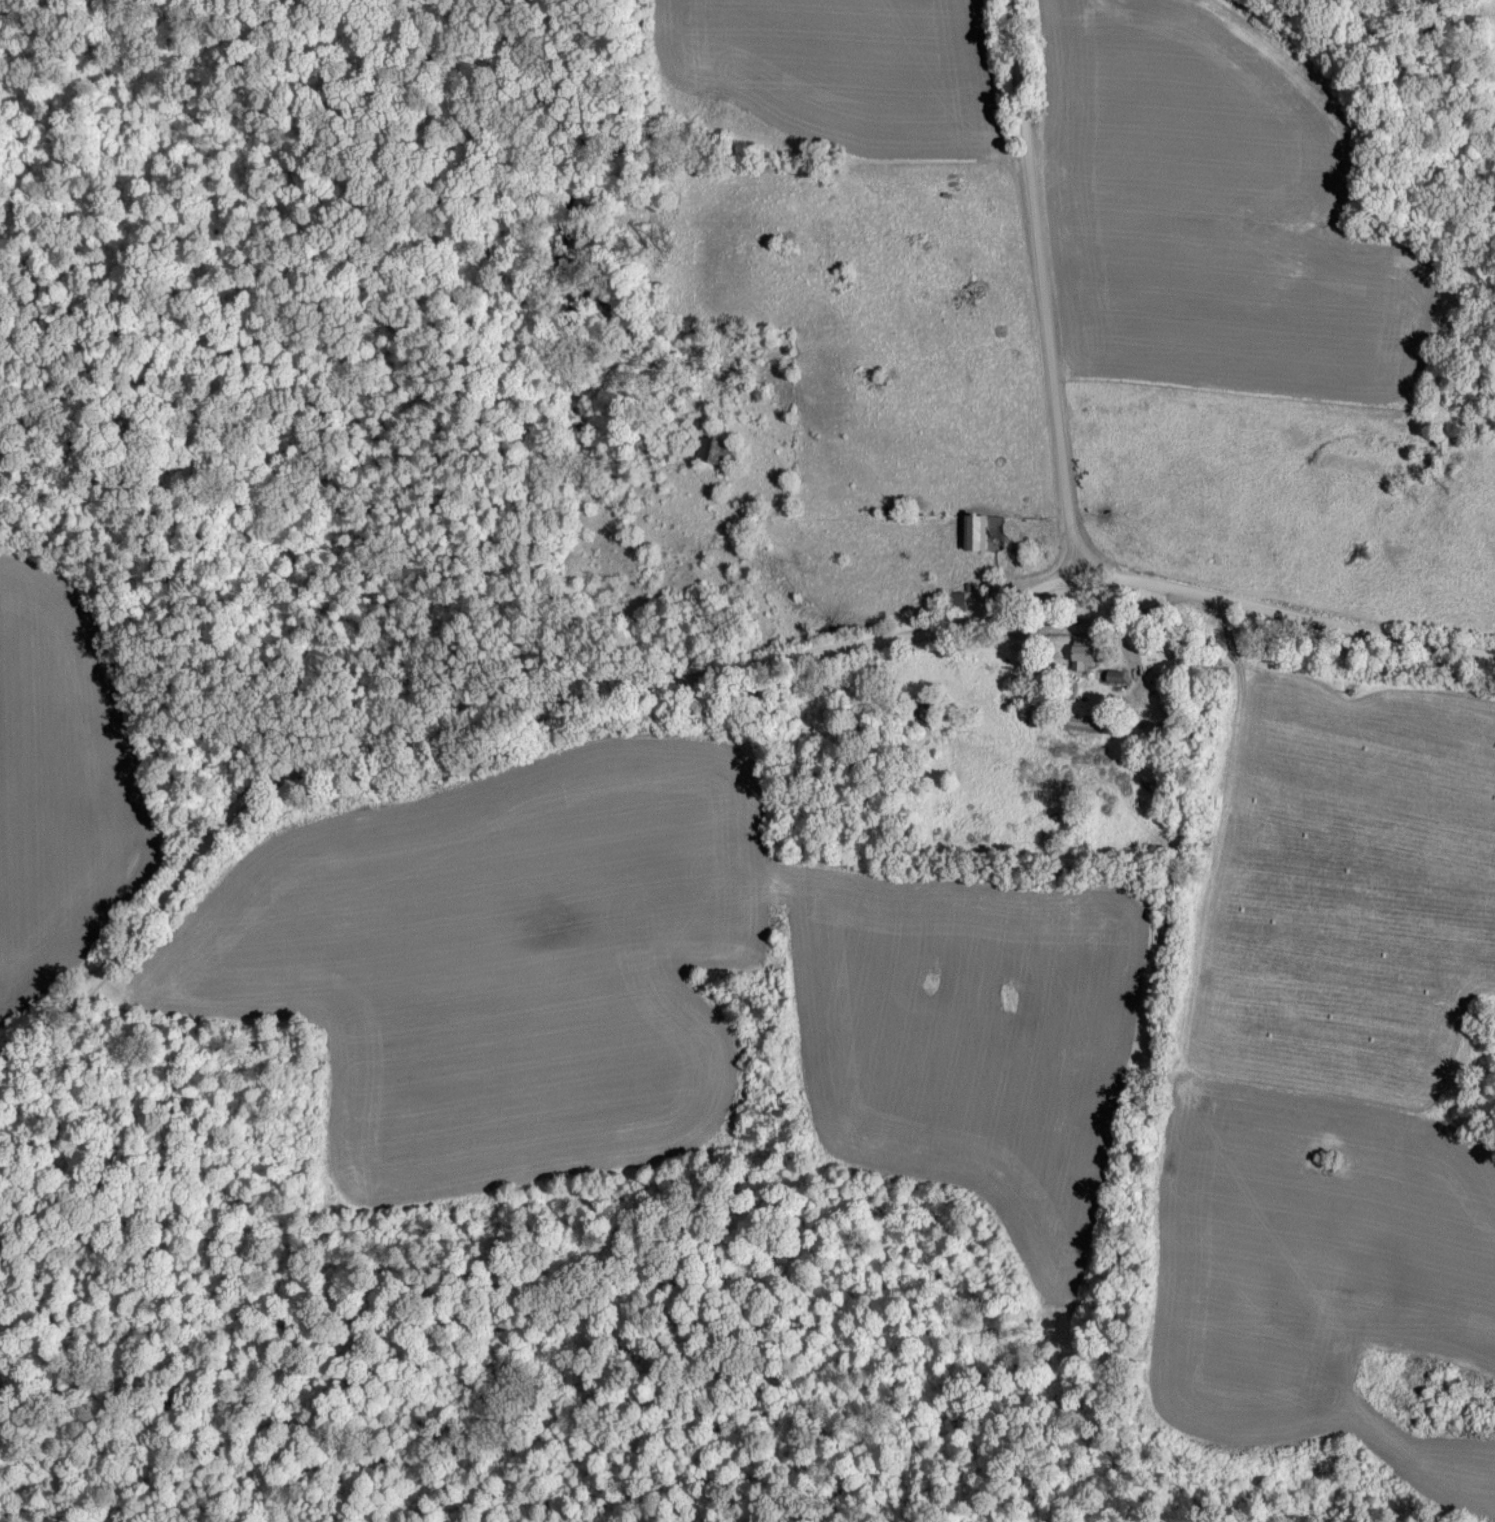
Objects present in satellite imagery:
road: (1050, 288)
building: (976, 531)
building: (1079, 653)
building: (1112, 675)
road: (694, 684)

